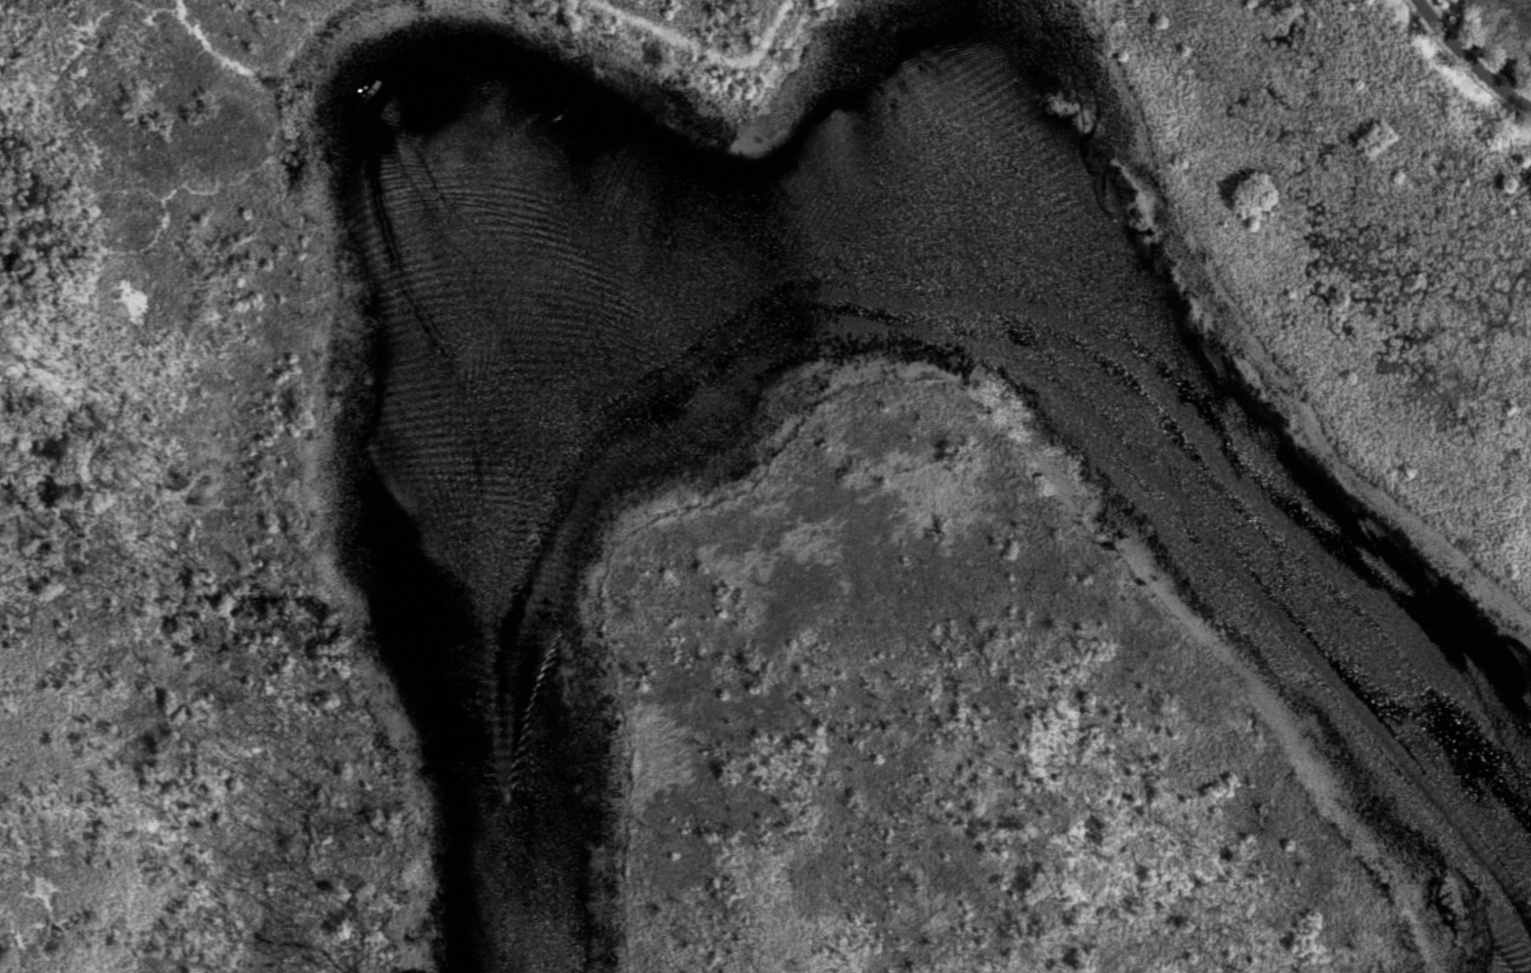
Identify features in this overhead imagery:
road: (1467, 60)

